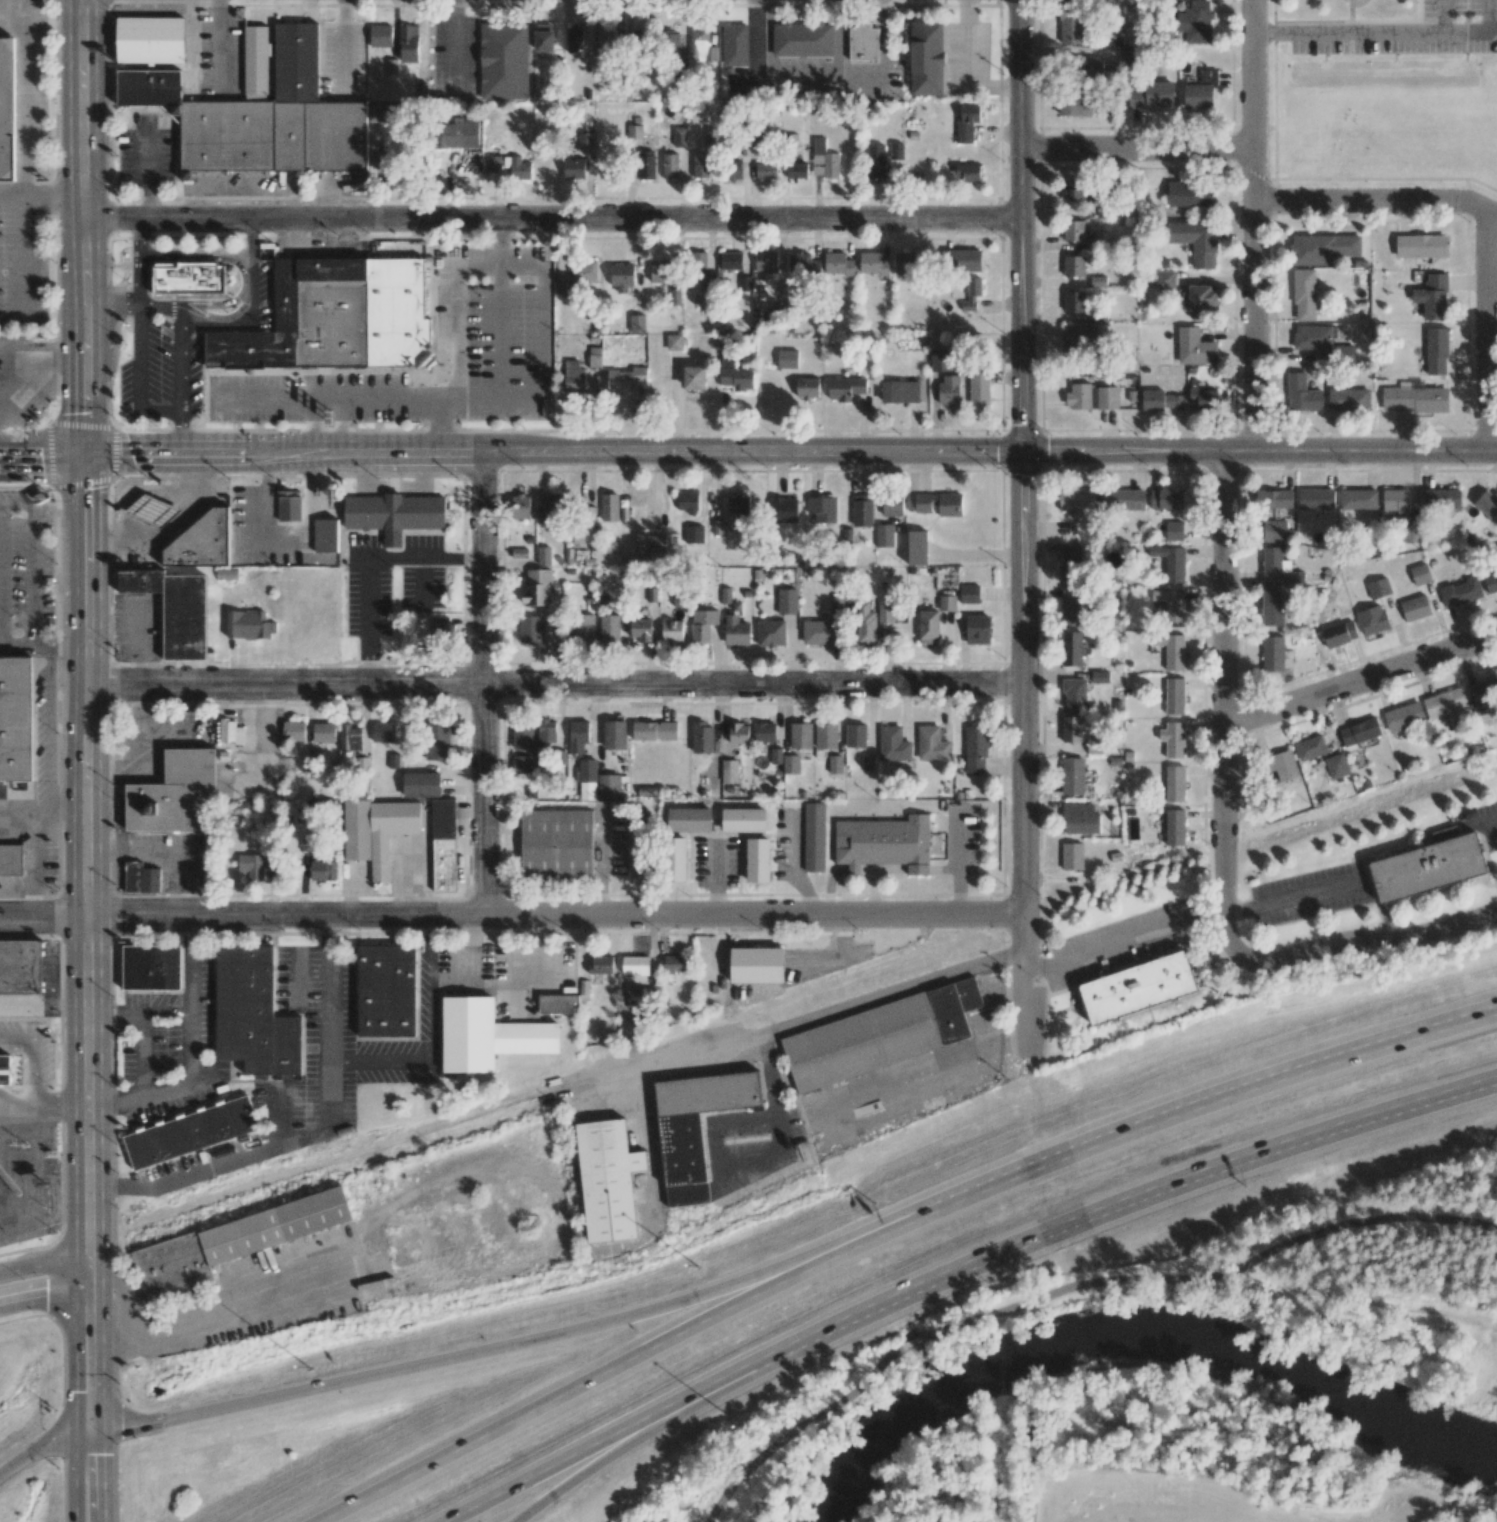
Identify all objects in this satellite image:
road: (1443, 15)
building: (1070, 25)
road: (1384, 31)
building: (381, 36)
building: (544, 37)
building: (151, 39)
building: (574, 39)
building: (408, 43)
building: (605, 43)
building: (671, 43)
building: (798, 46)
building: (859, 48)
building: (732, 50)
building: (711, 54)
building: (1126, 57)
building: (256, 59)
building: (505, 60)
building: (922, 64)
building: (1092, 66)
building: (1208, 77)
building: (421, 91)
building: (1149, 94)
building: (1198, 96)
road: (27, 97)
building: (1077, 105)
building: (10, 109)
building: (382, 113)
building: (261, 116)
building: (966, 122)
park: (1375, 130)
building: (457, 134)
building: (634, 134)
building: (680, 137)
building: (585, 140)
road: (1136, 149)
building: (896, 151)
building: (379, 159)
building: (824, 160)
building: (875, 161)
building: (643, 166)
building: (670, 166)
building: (701, 166)
building: (517, 167)
building: (574, 168)
building: (734, 170)
building: (766, 170)
building: (797, 170)
building: (967, 173)
building: (1076, 189)
road: (41, 194)
building: (1190, 194)
road: (1375, 203)
road: (552, 219)
road: (1022, 225)
road: (82, 226)
building: (1073, 230)
building: (1194, 241)
building: (1420, 246)
building: (1323, 248)
building: (731, 260)
building: (965, 260)
building: (766, 261)
building: (703, 262)
building: (799, 262)
building: (905, 262)
building: (837, 263)
building: (873, 263)
building: (1073, 265)
building: (584, 269)
building: (659, 273)
building: (622, 277)
building: (189, 278)
building: (1164, 279)
building: (1098, 281)
building: (744, 283)
building: (560, 286)
building: (971, 294)
building: (1304, 294)
building: (675, 296)
building: (1432, 296)
building: (705, 297)
building: (1199, 300)
building: (1074, 301)
building: (313, 324)
building: (637, 324)
road: (1487, 328)
building: (1312, 337)
building: (1080, 340)
building: (674, 342)
building: (1195, 347)
building: (1436, 351)
building: (787, 358)
building: (940, 360)
building: (735, 374)
building: (573, 375)
building: (694, 377)
building: (626, 379)
building: (807, 387)
building: (845, 388)
building: (948, 389)
building: (979, 389)
building: (899, 391)
building: (1302, 394)
building: (1078, 396)
building: (1106, 397)
building: (1202, 397)
building: (1348, 399)
building: (1415, 399)
building: (1161, 401)
road: (1259, 450)
road: (752, 451)
traffic signals: (1022, 451)
road: (41, 452)
road: (282, 452)
traffic signals: (83, 453)
road: (1492, 453)
road: (1232, 461)
road: (641, 496)
building: (1274, 498)
building: (1122, 499)
building: (1166, 499)
building: (1316, 499)
building: (1358, 499)
building: (1442, 499)
building: (1395, 500)
building: (688, 501)
building: (1077, 502)
building: (939, 503)
building: (1487, 505)
building: (519, 506)
building: (737, 506)
building: (892, 506)
building: (288, 507)
building: (609, 507)
building: (822, 508)
building: (552, 509)
building: (784, 509)
building: (862, 510)
building: (394, 512)
building: (584, 526)
building: (1174, 530)
building: (1273, 531)
building: (1411, 533)
building: (694, 534)
building: (325, 535)
building: (884, 535)
building: (202, 542)
building: (650, 544)
building: (917, 547)
building: (543, 555)
building: (1170, 562)
building: (1278, 567)
building: (1072, 568)
building: (1420, 574)
building: (1496, 574)
building: (536, 587)
building: (1378, 588)
building: (1459, 592)
building: (969, 594)
building: (725, 595)
building: (787, 601)
building: (947, 603)
building: (837, 605)
building: (1171, 605)
building: (1272, 606)
building: (1071, 607)
building: (1415, 608)
building: (177, 611)
building: (885, 611)
building: (1373, 619)
building: (249, 624)
building: (702, 624)
building: (865, 624)
building: (928, 627)
building: (443, 629)
building: (584, 629)
building: (609, 629)
building: (978, 629)
building: (529, 630)
building: (548, 630)
building: (640, 630)
building: (736, 630)
building: (672, 632)
building: (818, 632)
building: (770, 633)
building: (1338, 635)
building: (1071, 648)
building: (1171, 650)
building: (1273, 653)
building: (1099, 676)
road: (1360, 681)
road: (552, 683)
road: (1022, 683)
road: (484, 684)
building: (1074, 694)
building: (1174, 696)
building: (1484, 697)
building: (1445, 705)
building: (1403, 716)
building: (16, 721)
building: (1071, 729)
building: (230, 731)
building: (294, 731)
building: (654, 731)
building: (1359, 731)
building: (324, 732)
building: (383, 732)
building: (546, 732)
building: (765, 732)
building: (738, 733)
building: (615, 735)
building: (800, 735)
building: (855, 735)
building: (578, 736)
building: (826, 736)
building: (350, 737)
building: (522, 737)
building: (702, 738)
building: (1173, 739)
building: (438, 743)
building: (892, 744)
building: (932, 744)
building: (1310, 748)
building: (975, 749)
building: (524, 763)
building: (1284, 765)
building: (1336, 766)
building: (586, 770)
building: (727, 770)
building: (1072, 776)
building: (1174, 783)
building: (421, 784)
building: (609, 785)
building: (175, 795)
building: (1080, 818)
building: (689, 819)
building: (743, 820)
building: (1175, 827)
building: (377, 831)
building: (814, 837)
building: (883, 843)
building: (443, 845)
building: (556, 845)
building: (270, 856)
building: (1072, 856)
building: (757, 857)
building: (677, 859)
building: (11, 860)
building: (251, 865)
road: (86, 868)
building: (322, 870)
building: (1420, 874)
building: (141, 878)
road: (1290, 897)
road: (511, 917)
road: (1351, 942)
building: (675, 964)
building: (601, 965)
building: (635, 965)
building: (751, 971)
building: (147, 973)
building: (18, 974)
road: (1023, 986)
building: (644, 994)
building: (1130, 994)
building: (384, 997)
building: (558, 1004)
road: (138, 1012)
road: (817, 1015)
building: (249, 1020)
building: (483, 1040)
building: (879, 1041)
road: (191, 1051)
building: (2, 1075)
road: (1215, 1099)
building: (692, 1131)
building: (187, 1138)
building: (603, 1185)
road: (1128, 1201)
building: (231, 1242)
road: (43, 1264)
street lamp: (695, 1265)
road: (1212, 1278)
park: (1346, 1286)
road: (43, 1291)
road: (54, 1304)
road: (672, 1304)
road: (208, 1319)
river: (1137, 1342)
road: (912, 1343)
road: (103, 1356)
road: (76, 1359)
road: (628, 1360)
street lamp: (311, 1364)
traffic signals: (76, 1390)
road: (250, 1402)
road: (795, 1426)
traffic signals: (121, 1428)
road: (639, 1430)
road: (90, 1433)
road: (608, 1437)
road: (36, 1449)
park: (1159, 1450)
traffic signals: (104, 1453)
road: (104, 1476)
road: (77, 1479)

